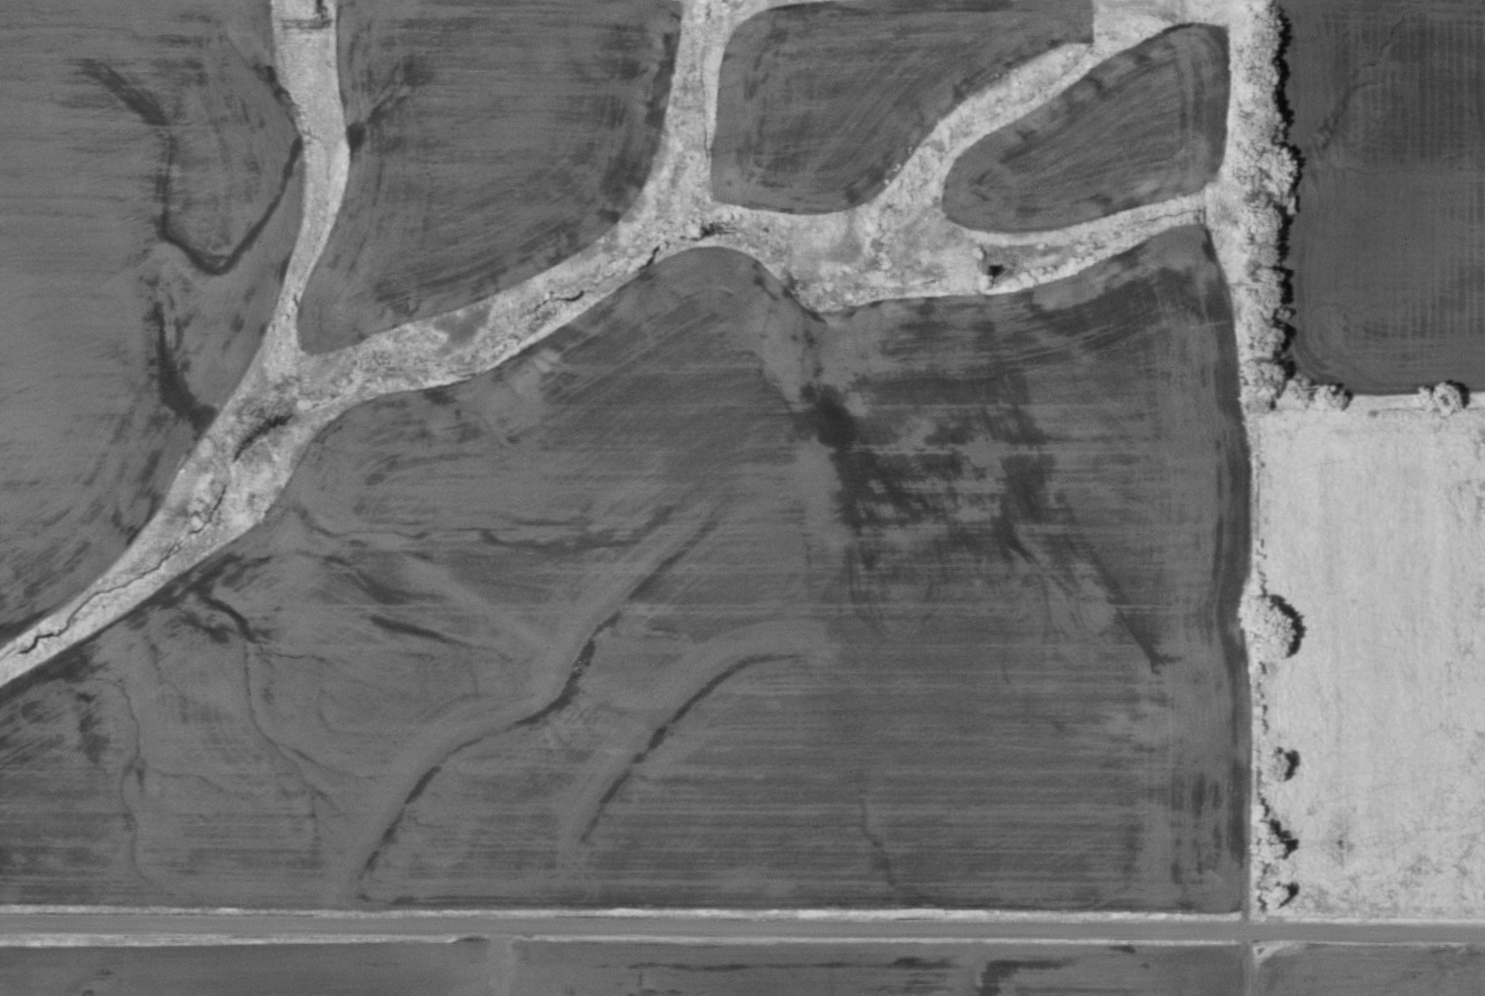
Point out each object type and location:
road: (742, 927)

